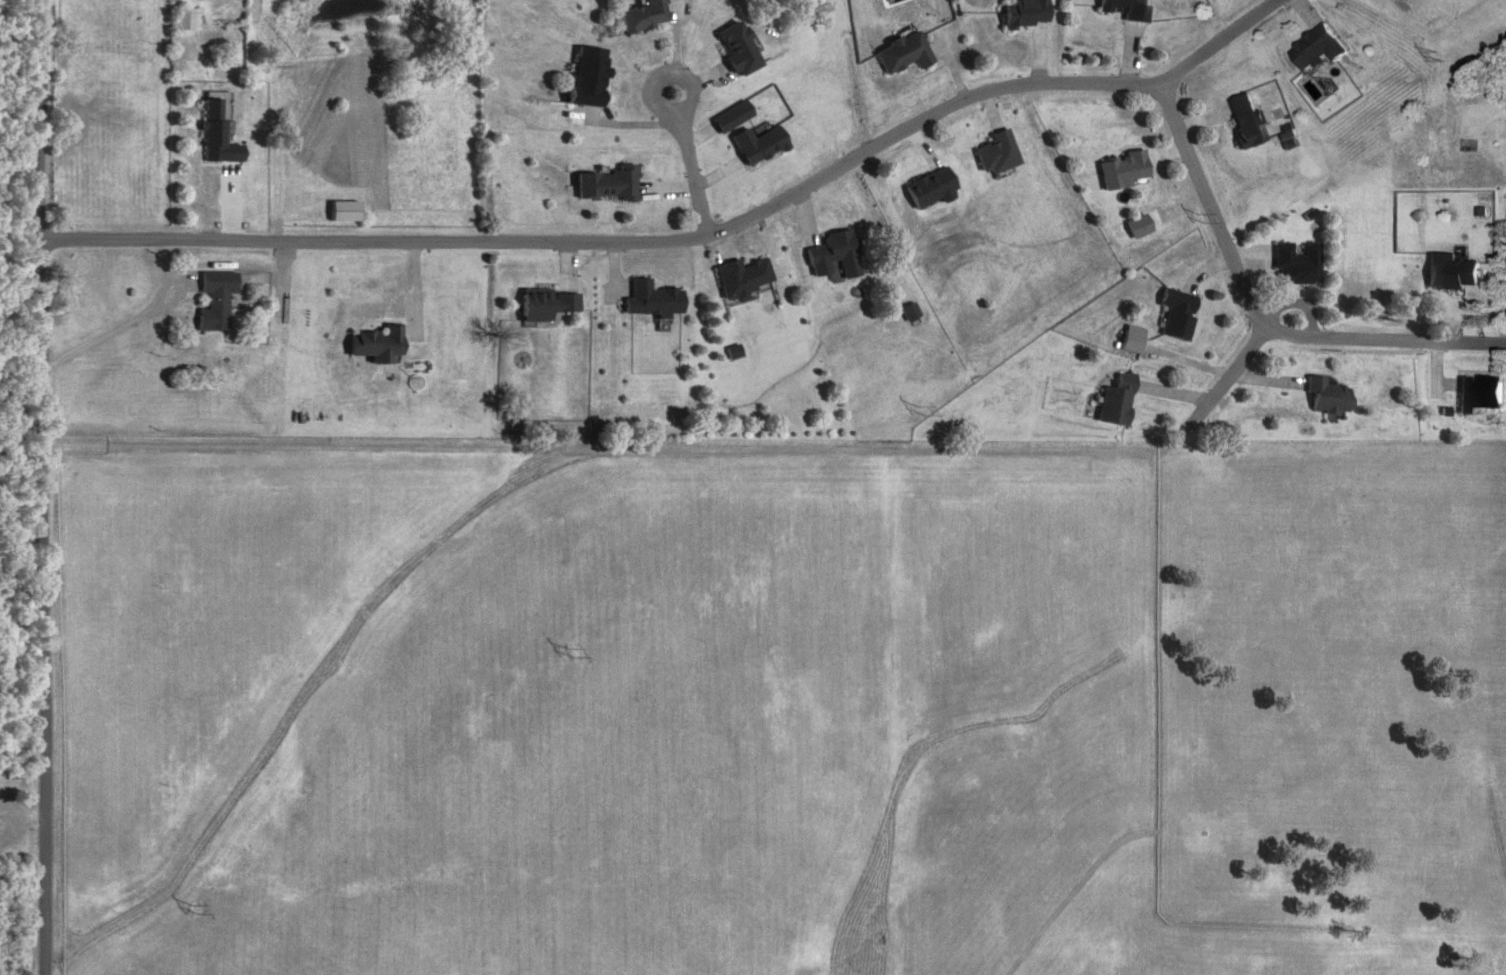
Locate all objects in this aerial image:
building: (1127, 9)
building: (1026, 14)
building: (644, 17)
building: (188, 20)
building: (740, 49)
building: (1320, 50)
building: (905, 54)
building: (590, 79)
building: (1249, 123)
building: (214, 136)
building: (760, 145)
building: (998, 154)
road: (693, 165)
building: (1123, 170)
building: (607, 185)
building: (932, 188)
building: (345, 212)
road: (697, 240)
building: (833, 251)
building: (1298, 264)
building: (1454, 272)
road: (1240, 276)
building: (743, 278)
building: (216, 300)
building: (653, 300)
building: (548, 305)
building: (910, 313)
building: (1178, 313)
road: (115, 333)
road: (1337, 344)
road: (1463, 348)
building: (1481, 394)
building: (1328, 397)
building: (1118, 402)
road: (47, 487)
road: (24, 807)

